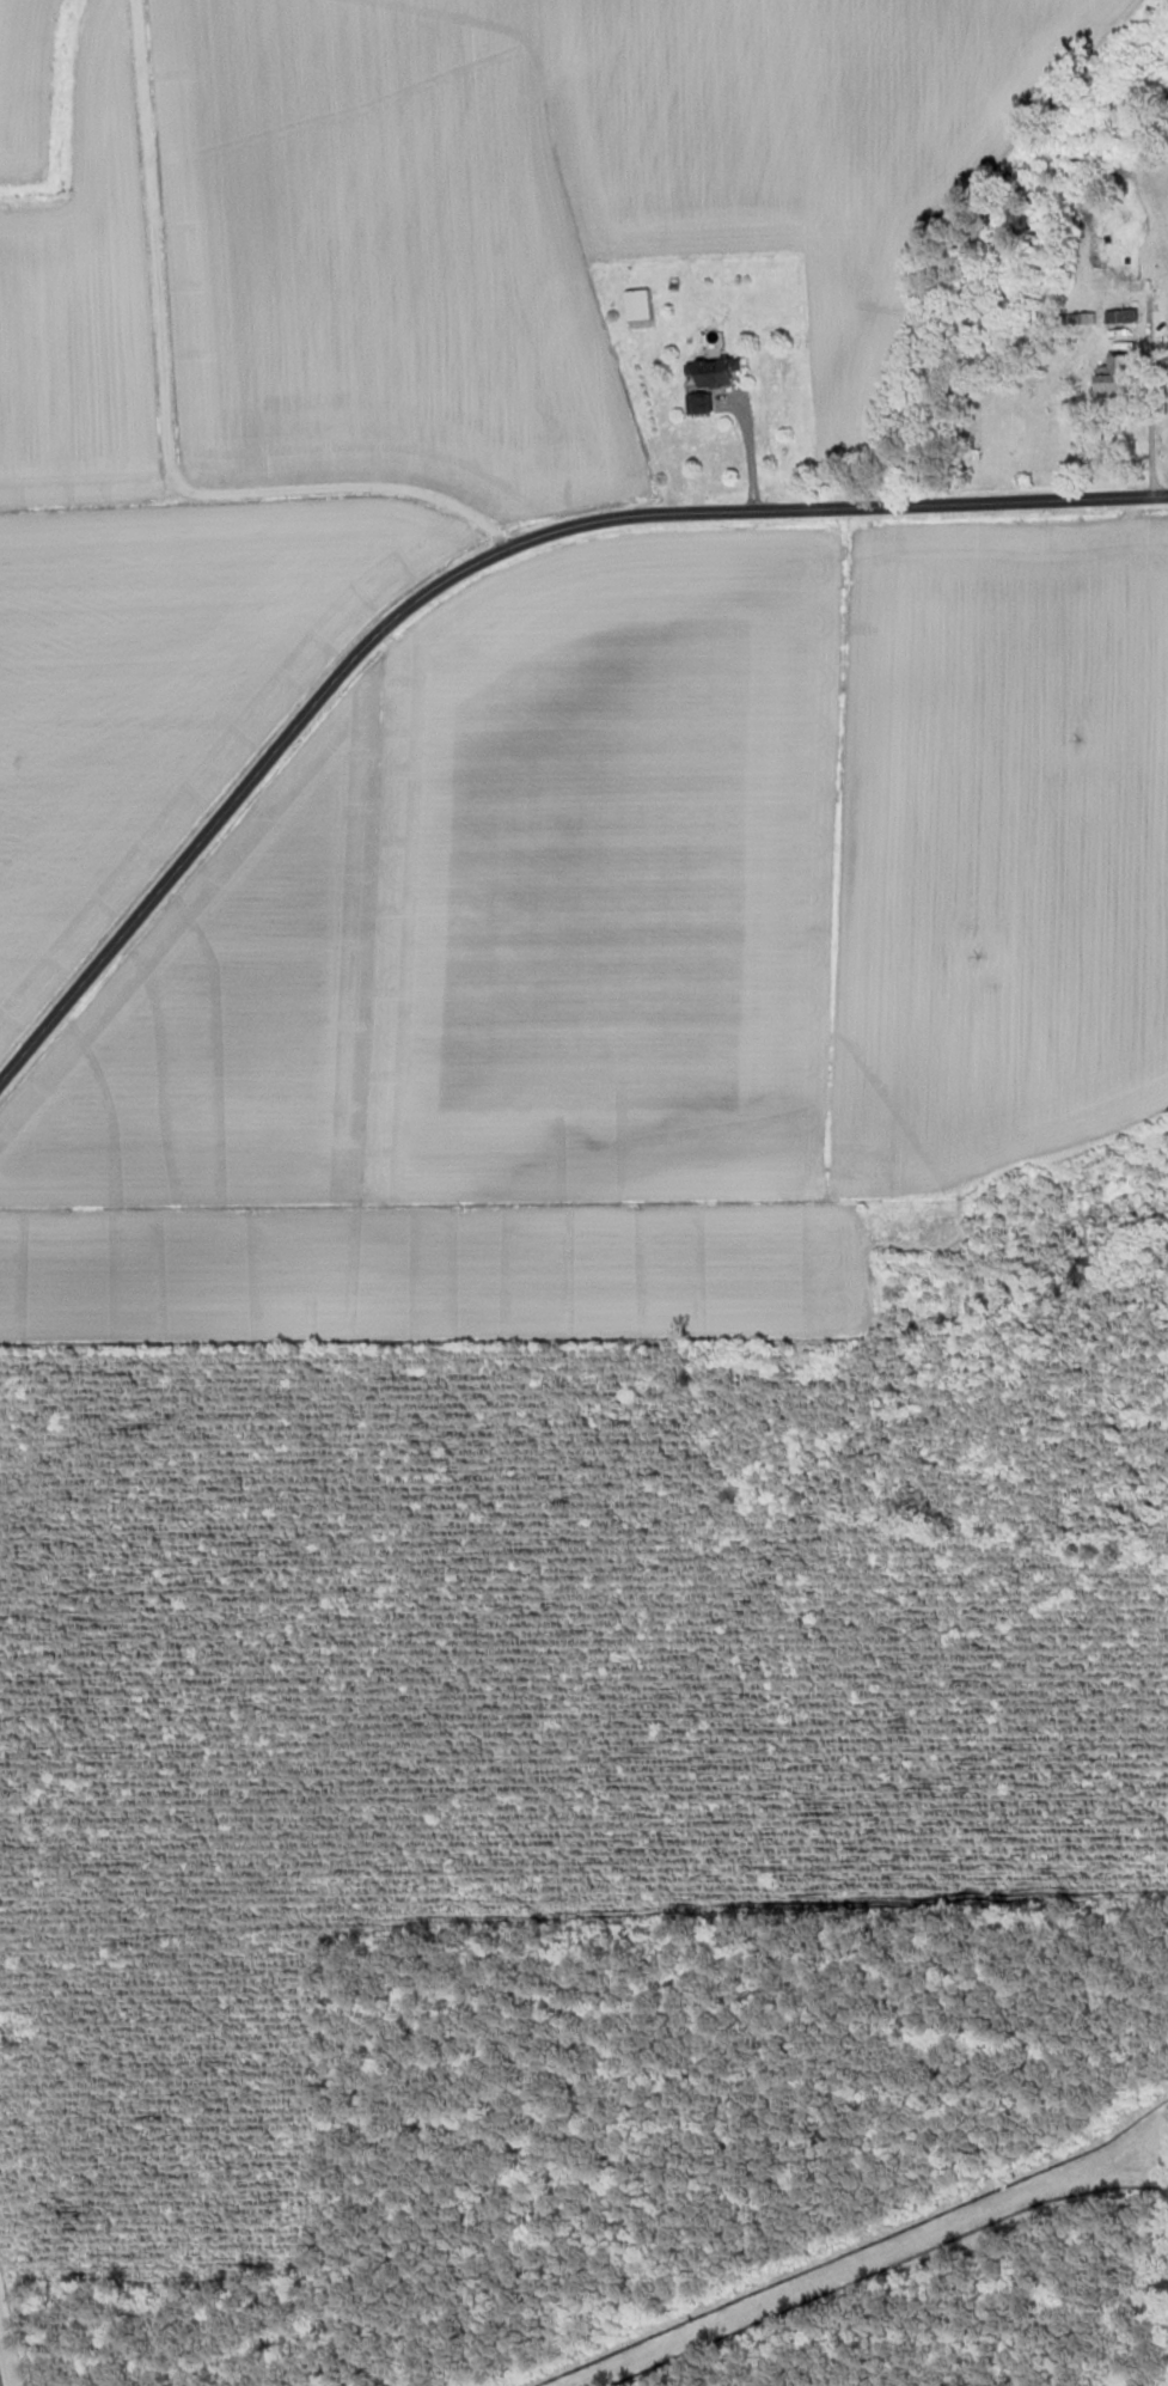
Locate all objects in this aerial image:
road: (1150, 263)
road: (1156, 285)
building: (635, 306)
building: (1119, 317)
building: (709, 374)
building: (1113, 379)
road: (1149, 398)
building: (693, 404)
road: (750, 450)
road: (472, 568)

